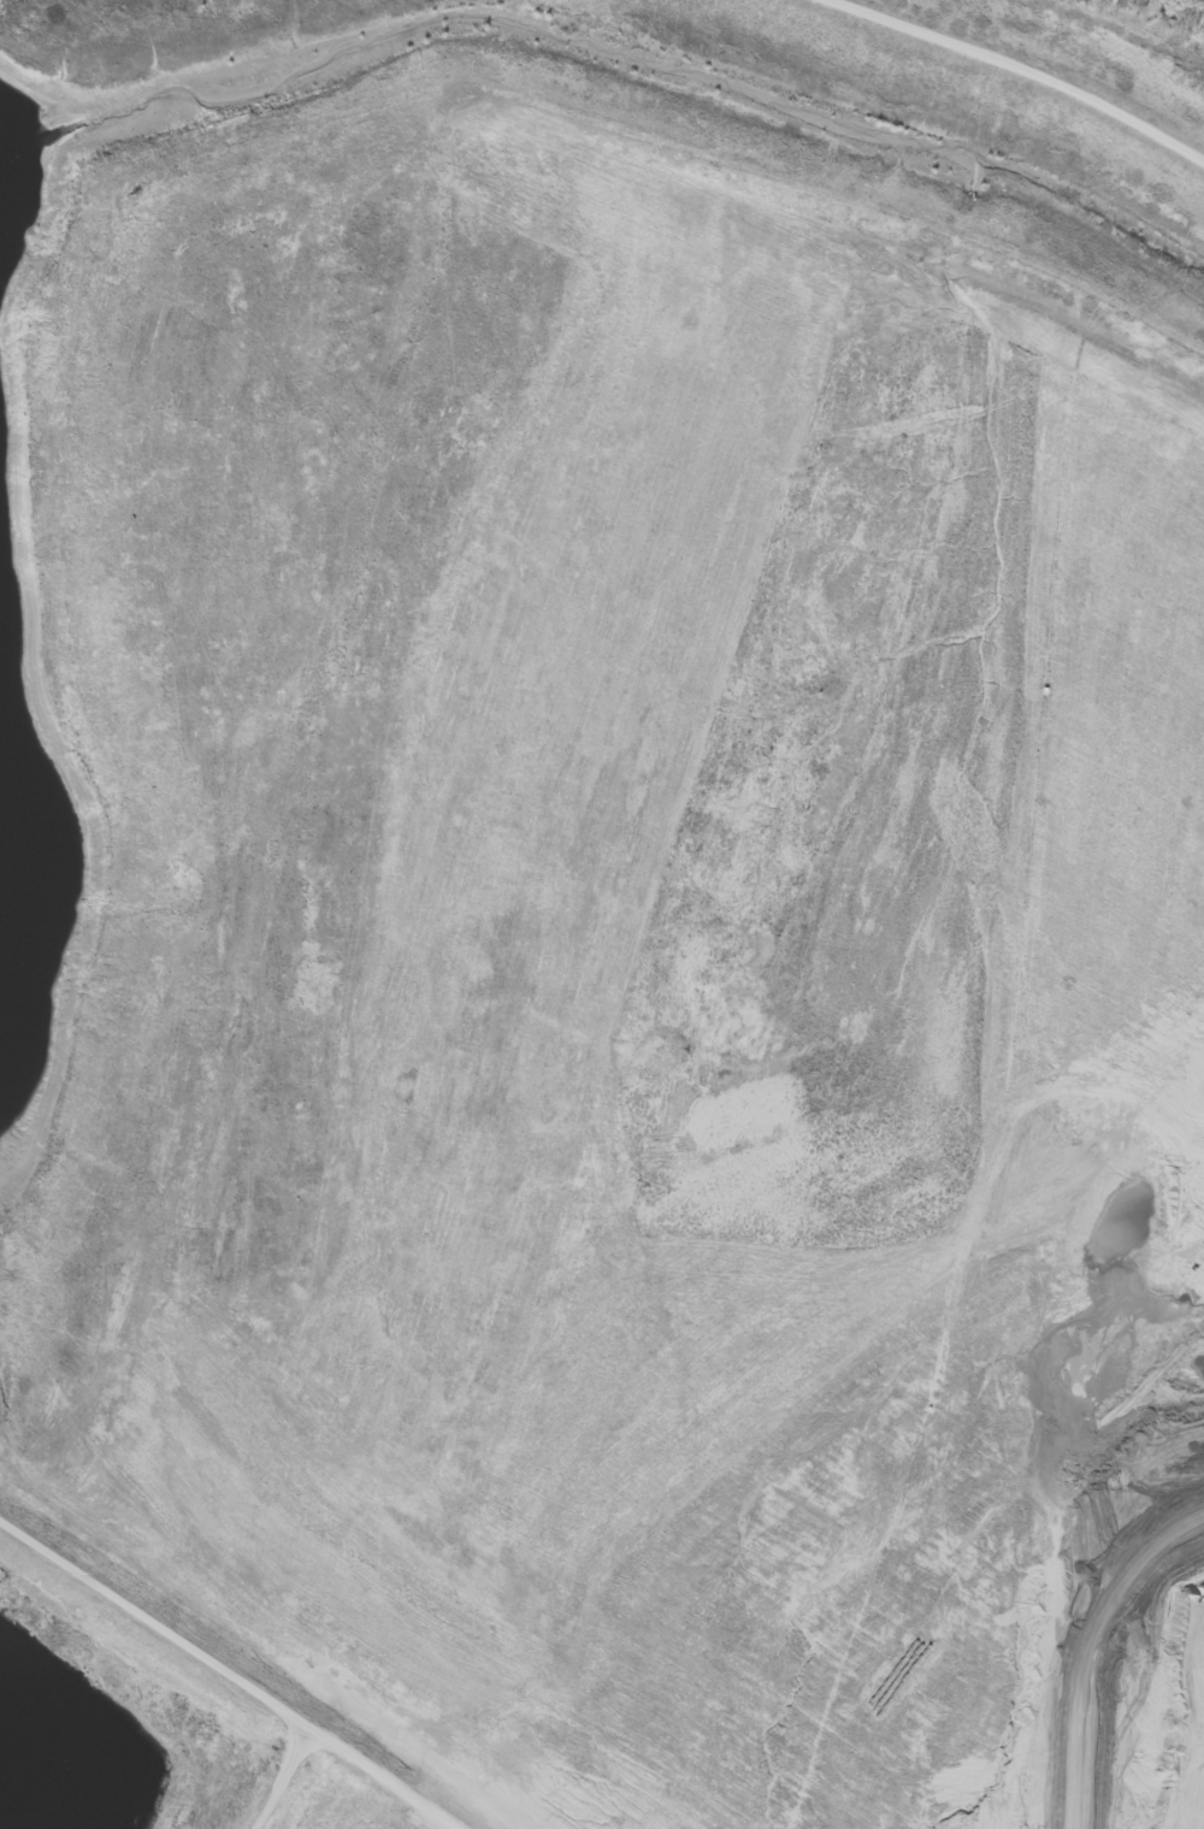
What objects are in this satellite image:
quarry: (601, 915)

